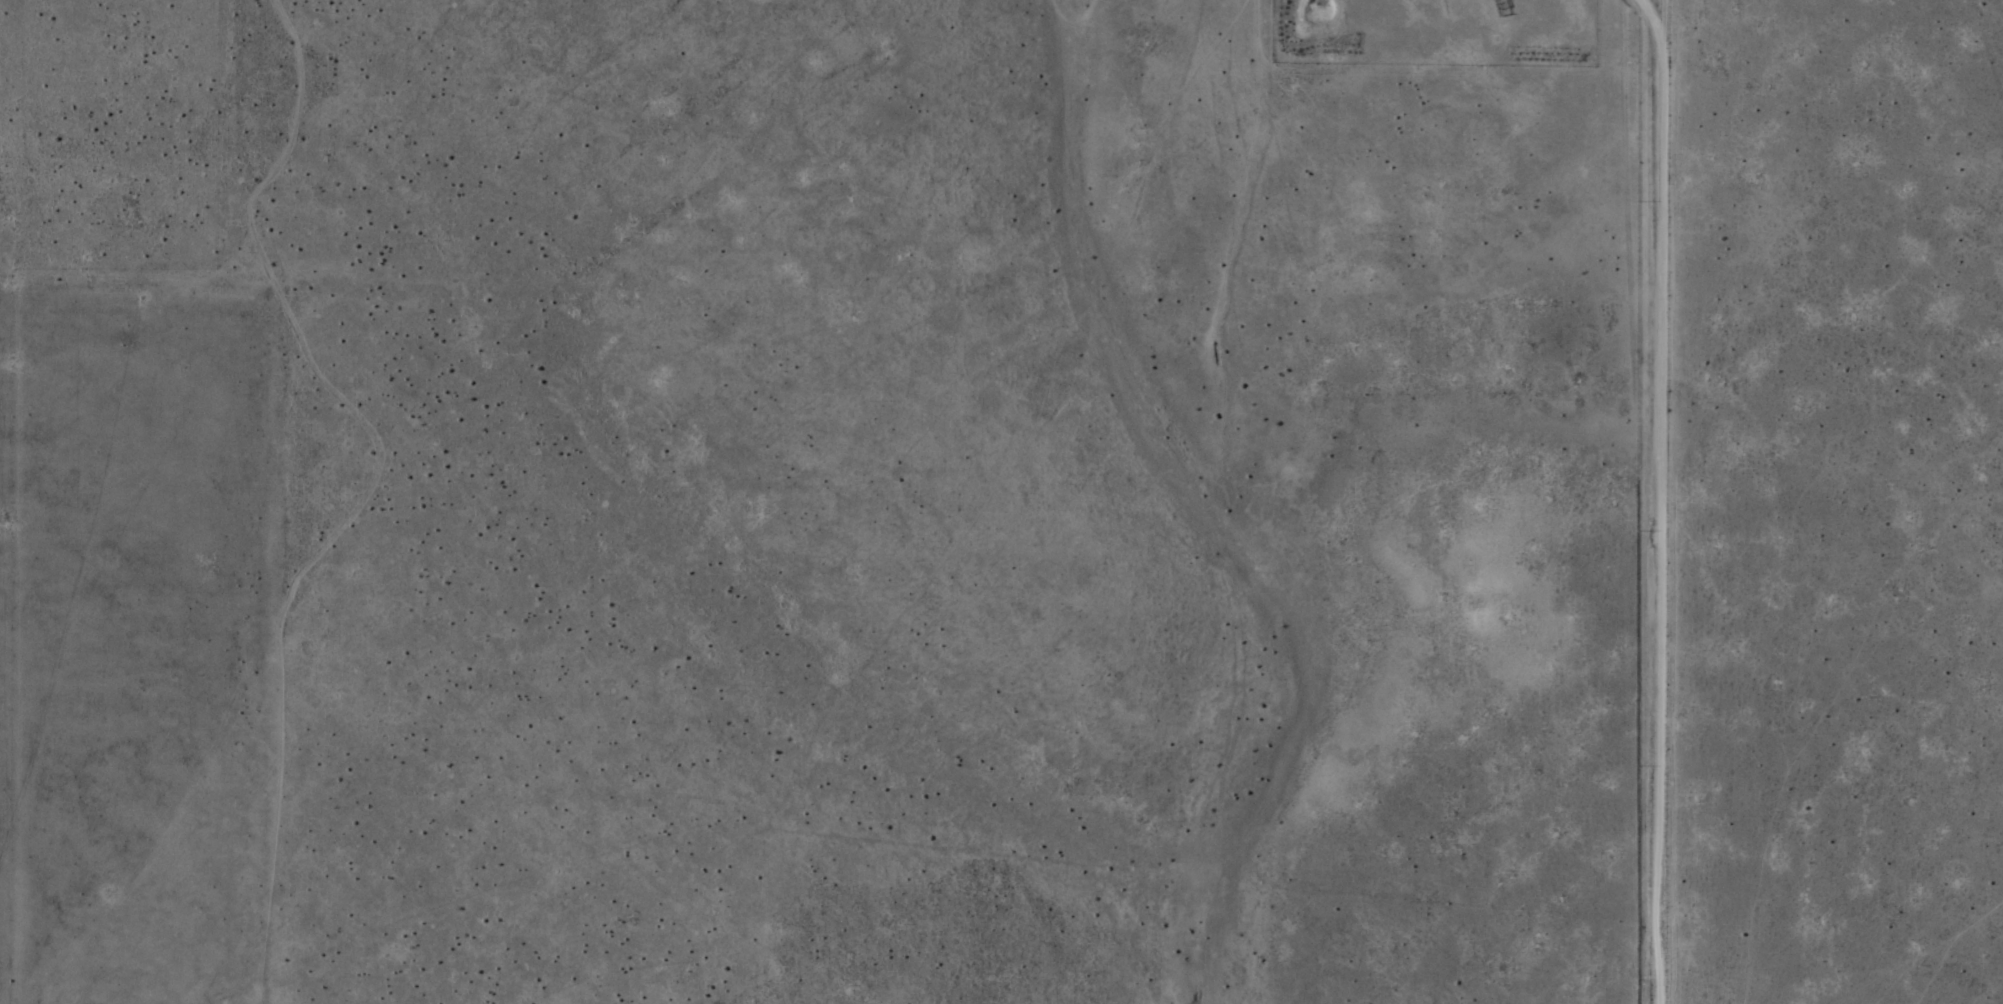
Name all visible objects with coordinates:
road: (1577, 95)
road: (1640, 502)

